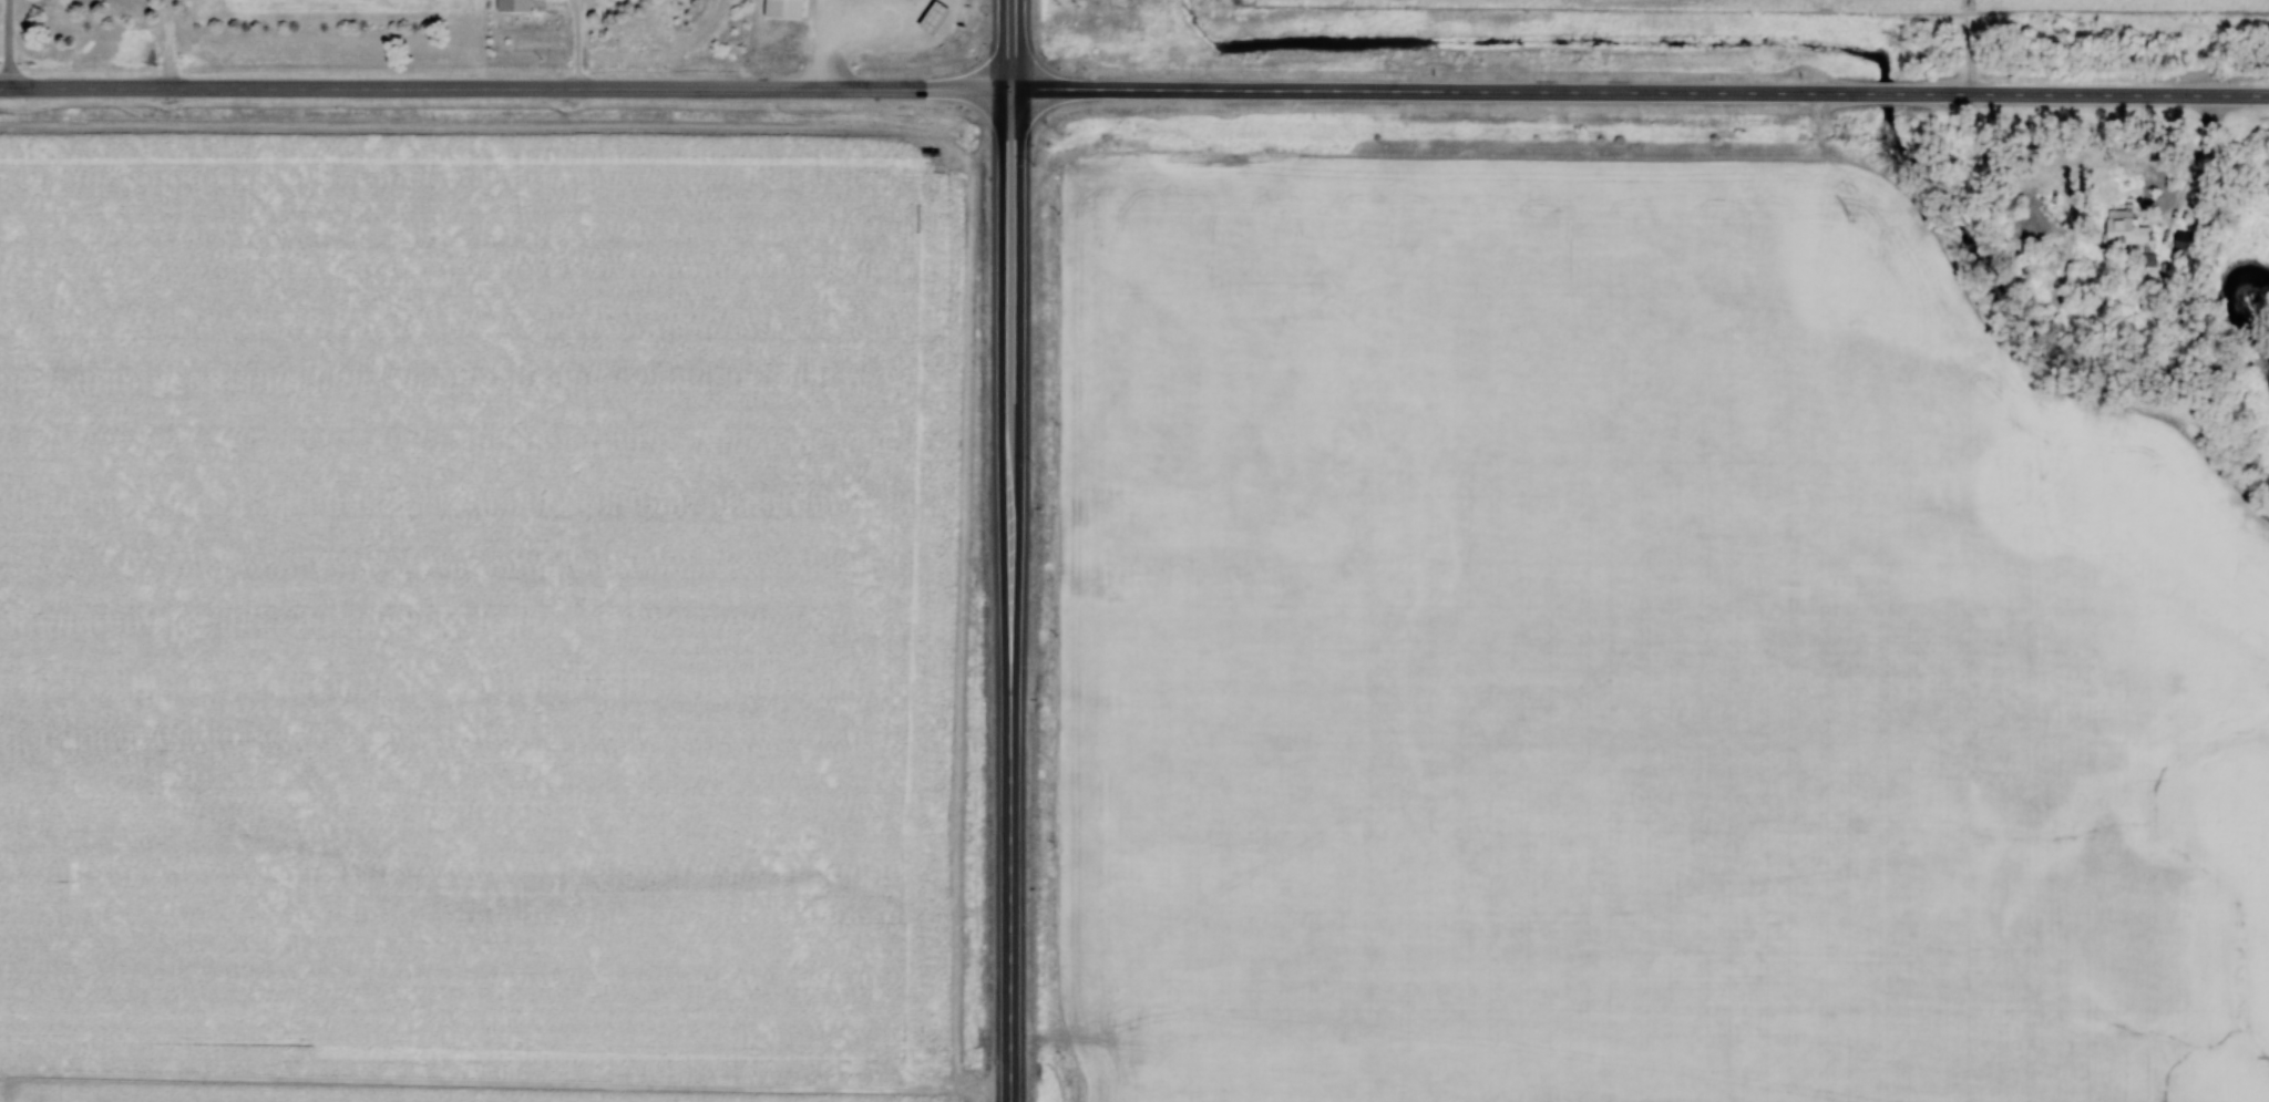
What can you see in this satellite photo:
road: (576, 1)
road: (576, 1)
building: (514, 7)
road: (833, 16)
building: (935, 18)
gas station: (935, 18)
road: (881, 24)
road: (10, 43)
road: (170, 44)
road: (579, 47)
road: (830, 62)
road: (506, 91)
road: (1641, 96)
building: (2125, 229)
building: (2186, 245)
river: (2237, 289)
road: (1013, 550)

